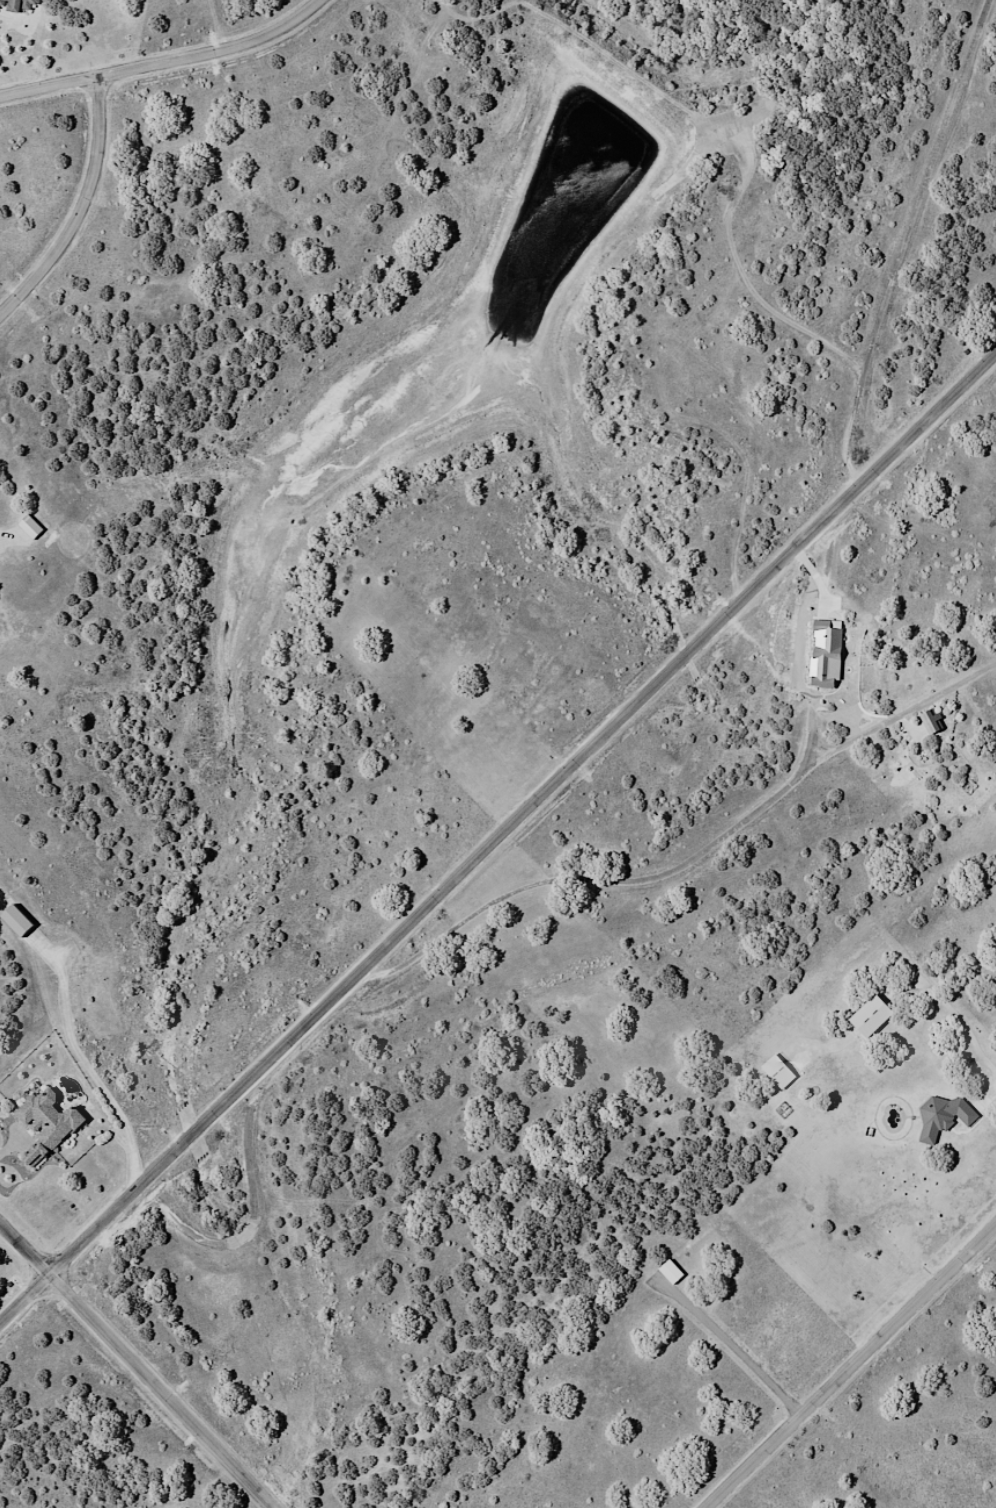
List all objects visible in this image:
building: (2, 2)
building: (25, 5)
road: (168, 62)
road: (84, 210)
building: (34, 527)
building: (827, 656)
building: (932, 723)
road: (497, 839)
road: (624, 880)
building: (20, 921)
building: (875, 1016)
road: (960, 1022)
road: (85, 1066)
building: (781, 1075)
building: (947, 1114)
building: (50, 1124)
building: (675, 1272)
road: (741, 1358)
road: (138, 1368)
road: (852, 1368)

